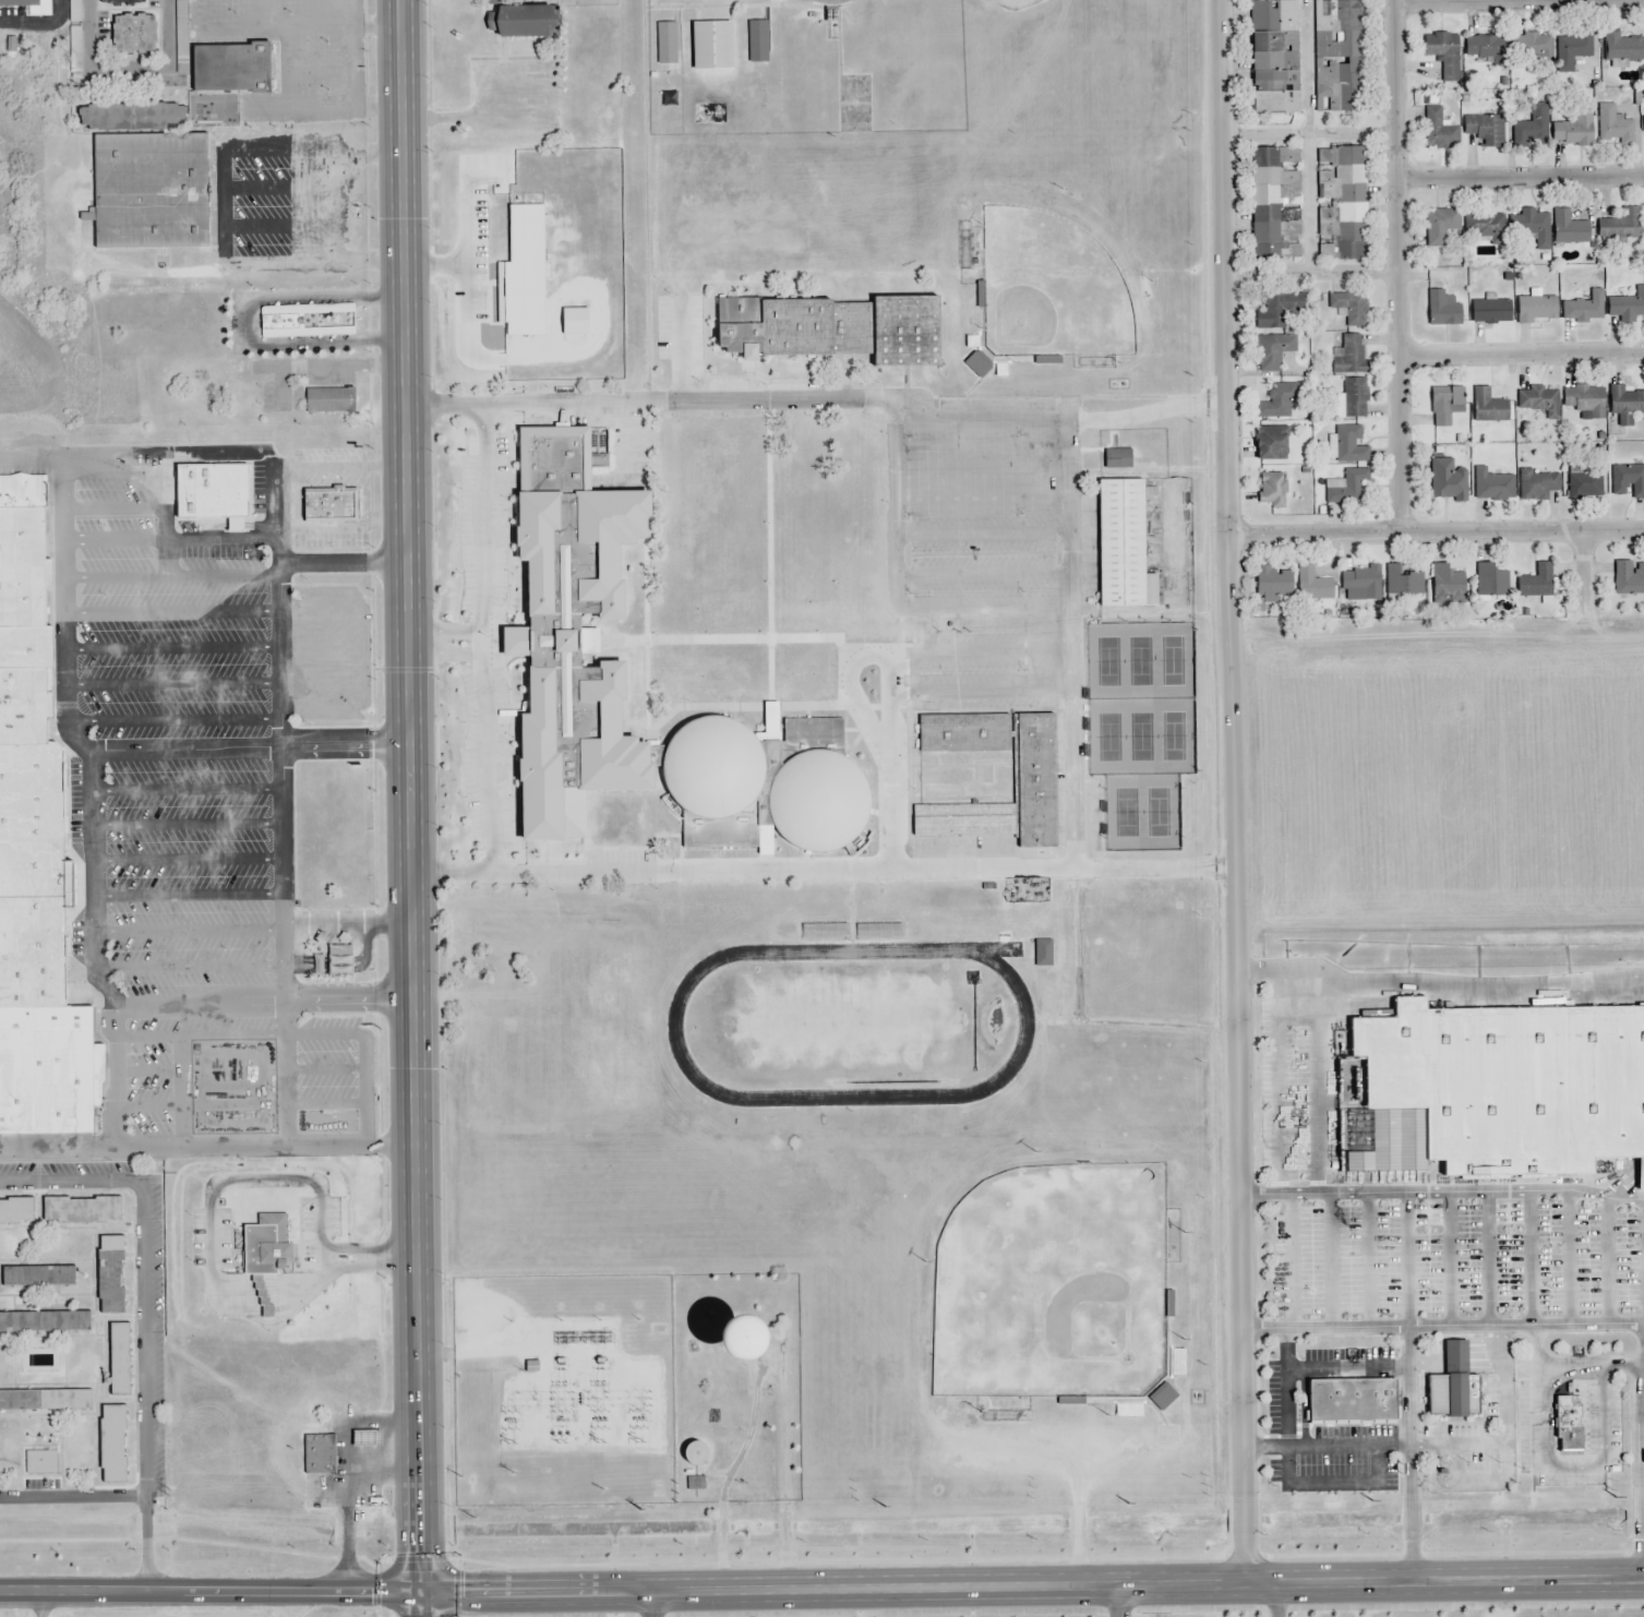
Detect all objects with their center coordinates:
building: (124, 1)
road: (1485, 1)
building: (830, 2)
building: (22, 3)
building: (76, 10)
building: (531, 21)
building: (137, 33)
building: (756, 43)
building: (667, 46)
building: (715, 46)
building: (1484, 48)
building: (1537, 48)
building: (1623, 49)
building: (1572, 51)
building: (1445, 57)
building: (1335, 58)
building: (1274, 59)
road: (127, 69)
building: (232, 70)
building: (1643, 122)
building: (1531, 124)
building: (1612, 125)
building: (1484, 129)
building: (1574, 131)
building: (1436, 132)
road: (1309, 134)
road: (1310, 135)
road: (1521, 172)
building: (152, 193)
building: (1340, 207)
building: (1276, 208)
building: (1620, 225)
building: (1438, 228)
building: (1535, 228)
building: (1484, 229)
building: (1570, 230)
road: (1399, 266)
road: (1344, 273)
park: (1059, 278)
building: (1628, 306)
building: (1349, 309)
building: (1584, 309)
building: (290, 310)
building: (1272, 311)
building: (1536, 311)
building: (1442, 312)
building: (1491, 312)
building: (833, 331)
road: (1522, 349)
building: (1271, 352)
building: (1348, 358)
building: (331, 399)
road: (881, 399)
building: (1354, 400)
building: (1585, 403)
building: (1275, 404)
building: (1539, 404)
building: (1443, 406)
building: (1623, 406)
building: (1488, 408)
building: (1271, 445)
building: (1348, 446)
building: (1627, 482)
building: (1447, 483)
building: (1490, 486)
building: (1535, 487)
building: (1584, 488)
building: (1349, 491)
building: (213, 493)
building: (332, 506)
road: (1436, 532)
building: (1121, 546)
road: (1585, 571)
building: (1627, 579)
building: (1490, 582)
building: (1404, 584)
building: (1535, 584)
building: (1360, 585)
building: (1273, 586)
building: (1448, 586)
building: (1313, 587)
building: (577, 627)
road: (444, 639)
road: (480, 640)
park: (1136, 731)
building: (717, 766)
building: (1033, 779)
road: (1236, 791)
building: (824, 800)
road: (410, 808)
building: (37, 850)
road: (910, 871)
track: (675, 1023)
building: (1502, 1088)
building: (17, 1211)
building: (86, 1211)
building: (269, 1246)
road: (345, 1256)
building: (113, 1274)
building: (39, 1277)
park: (1053, 1285)
road: (145, 1313)
building: (46, 1323)
water tower: (752, 1334)
building: (118, 1361)
building: (1455, 1386)
power substation: (561, 1390)
building: (46, 1401)
building: (1352, 1402)
building: (1570, 1425)
power tower: (638, 1440)
power tower: (600, 1442)
building: (116, 1445)
power tower: (512, 1445)
building: (320, 1456)
building: (40, 1464)
power tower: (511, 1471)
power tower: (458, 1475)
power tower: (602, 1488)
power tower: (168, 1492)
power tower: (1615, 1497)
power tower: (1372, 1499)
power tower: (1125, 1501)
power tower: (880, 1506)
power tower: (638, 1507)
power tower: (471, 1517)
traffic signals: (421, 1589)
road: (821, 1589)
road: (1119, 1601)
road: (1274, 1601)
road: (648, 1603)
road: (40, 1604)

